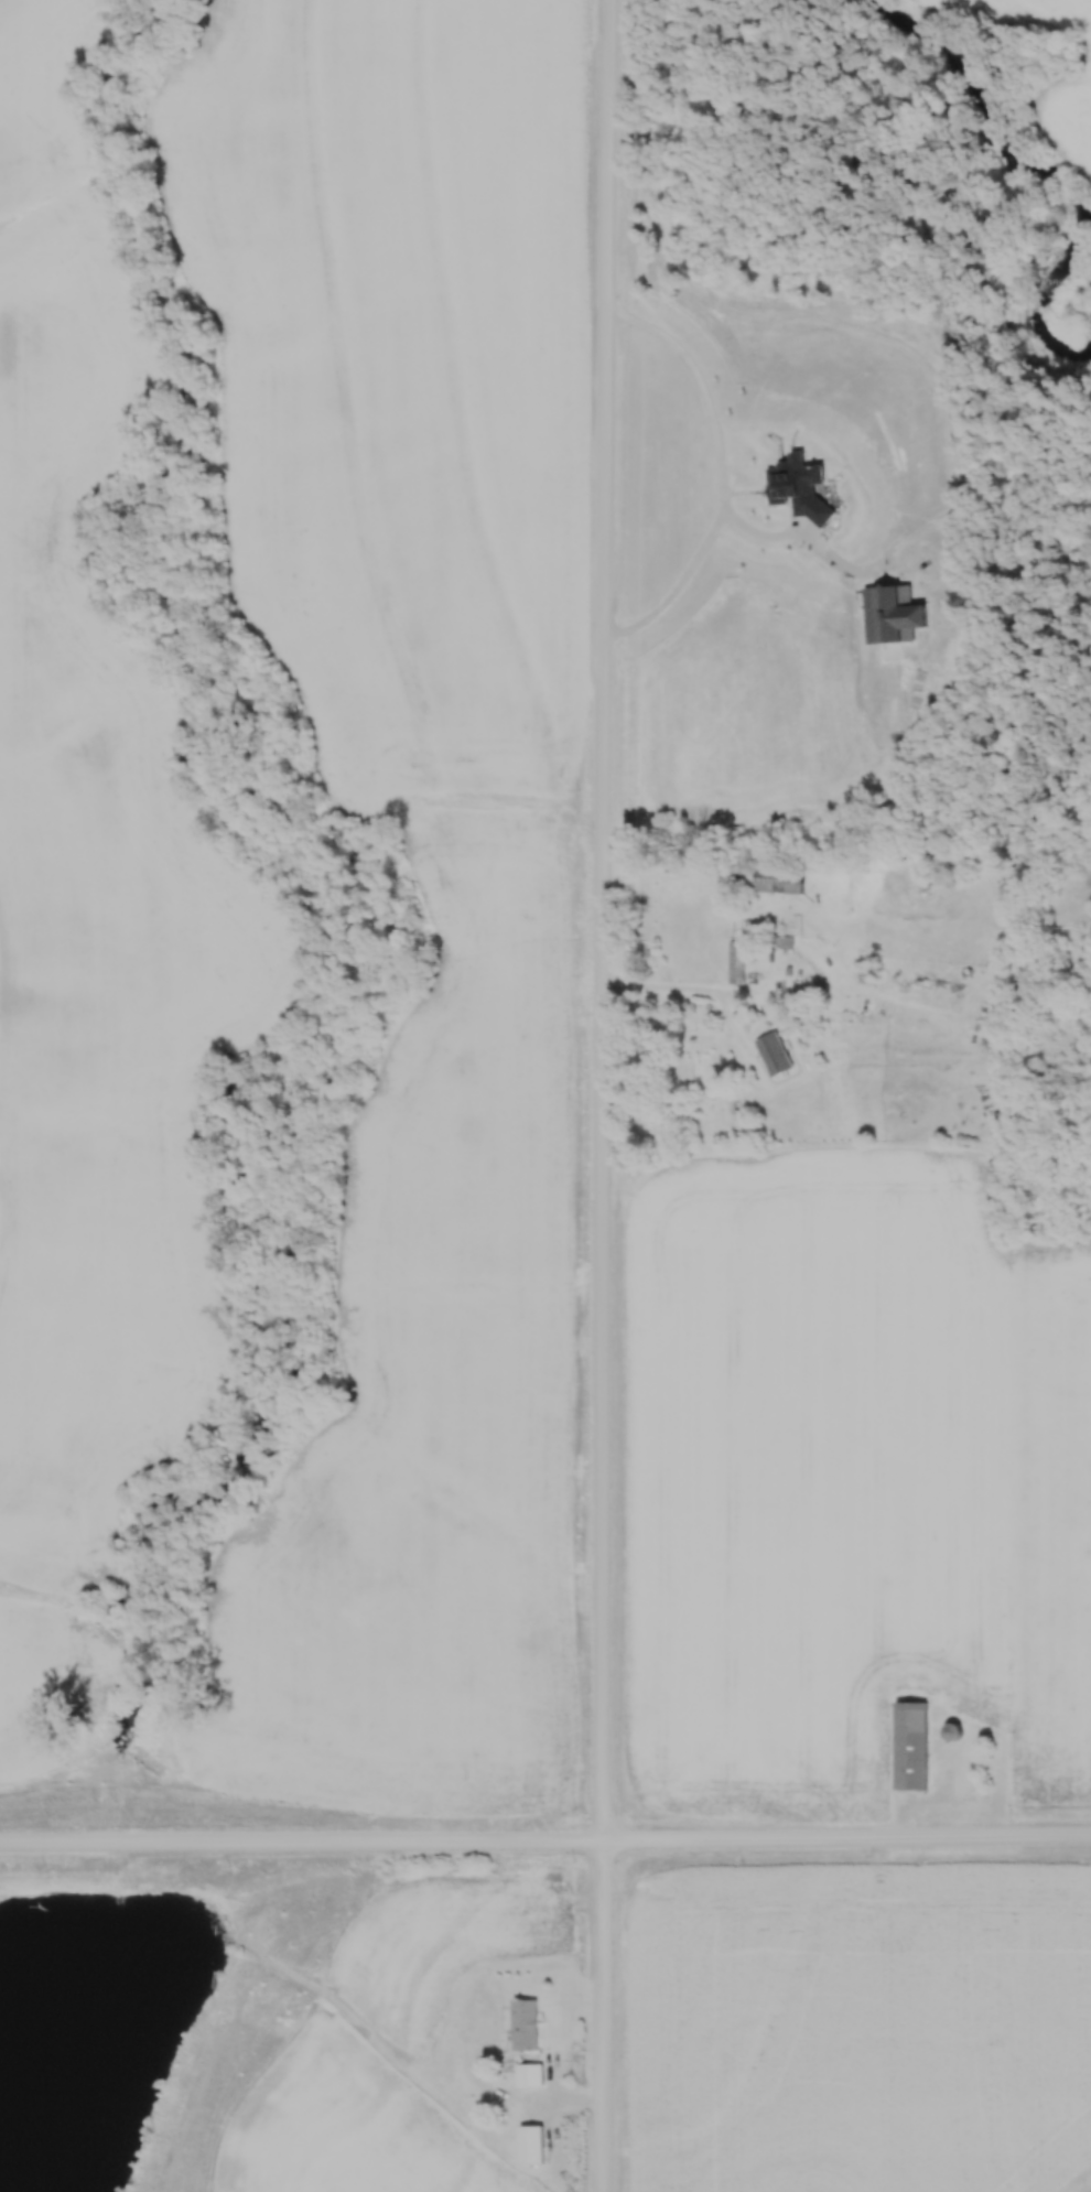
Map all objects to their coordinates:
river: (1043, 173)
road: (716, 475)
building: (779, 882)
building: (785, 942)
building: (736, 962)
road: (668, 987)
building: (703, 1073)
road: (603, 1095)
building: (950, 1732)
building: (909, 1747)
road: (545, 1844)
building: (523, 2024)
building: (530, 2145)

